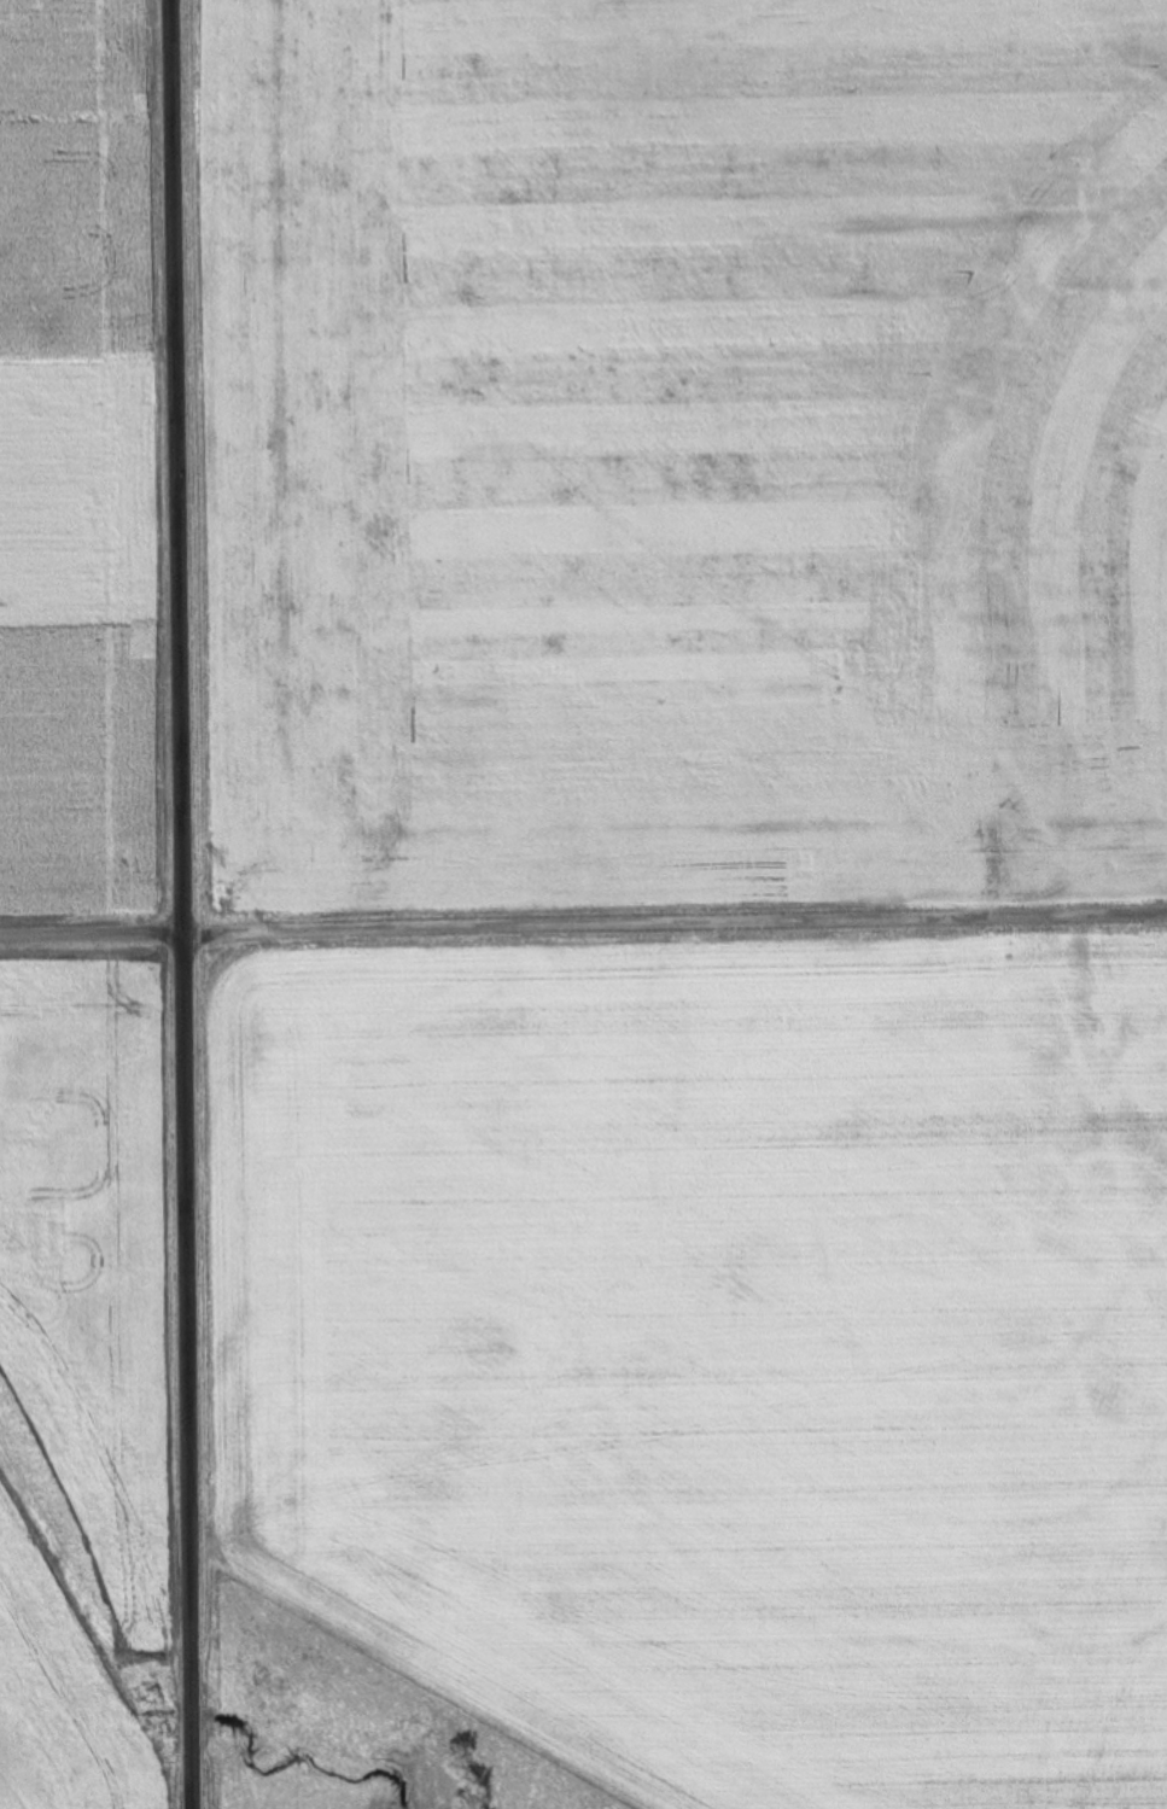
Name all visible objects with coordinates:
road: (177, 904)
road: (672, 922)
road: (89, 932)

